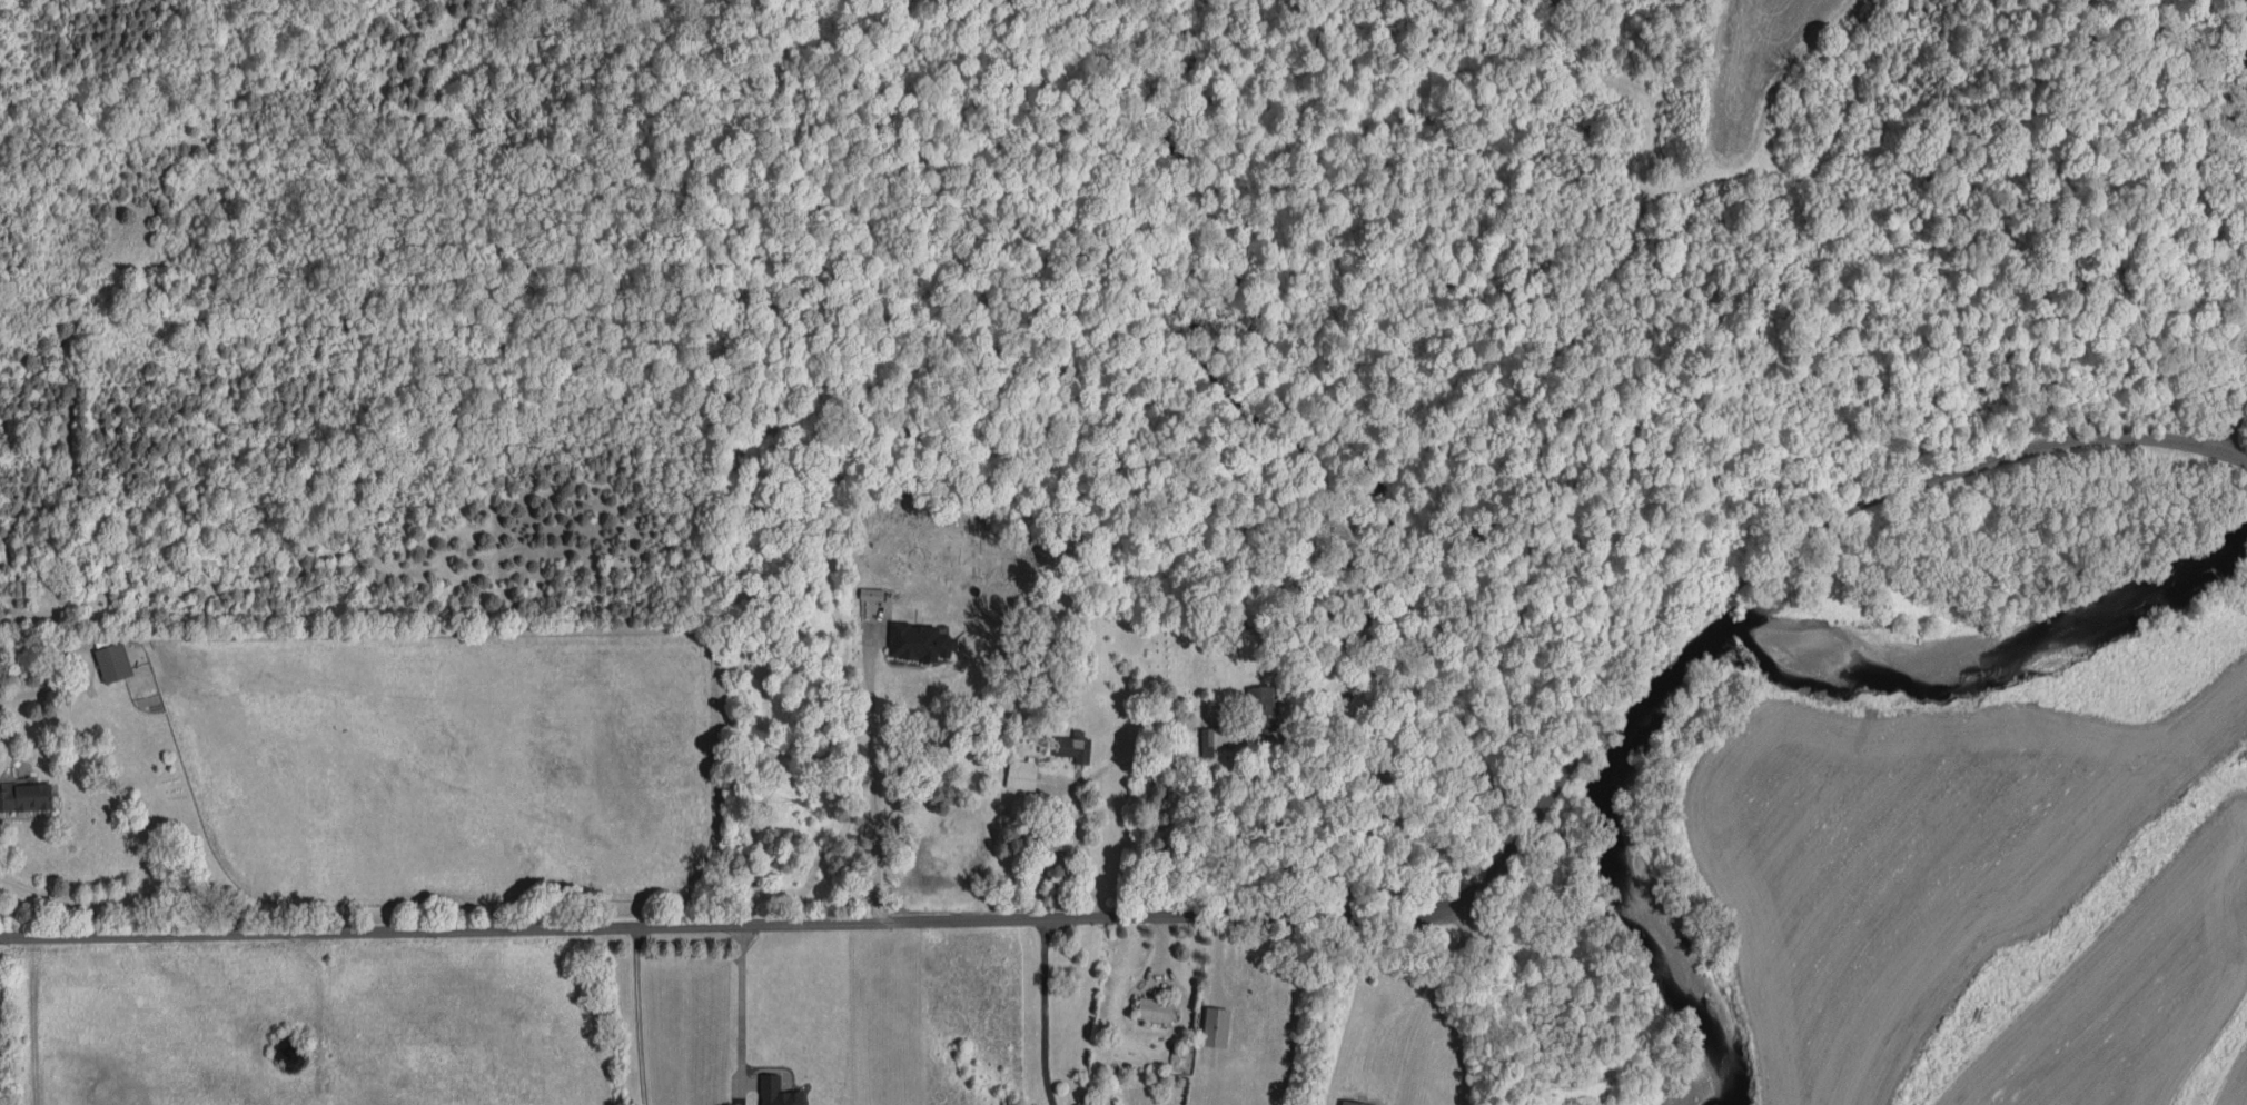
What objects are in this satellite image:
road: (2246, 11)
road: (2237, 421)
building: (918, 641)
building: (112, 661)
river: (1745, 675)
building: (1206, 741)
building: (1072, 747)
building: (1021, 773)
road: (872, 779)
building: (24, 796)
road: (1315, 810)
road: (1079, 814)
road: (132, 898)
road: (1217, 919)
building: (1154, 1009)
road: (1043, 1013)
road: (740, 1015)
road: (637, 1016)
road: (31, 1023)
building: (1215, 1026)
building: (776, 1092)
building: (1352, 1103)

